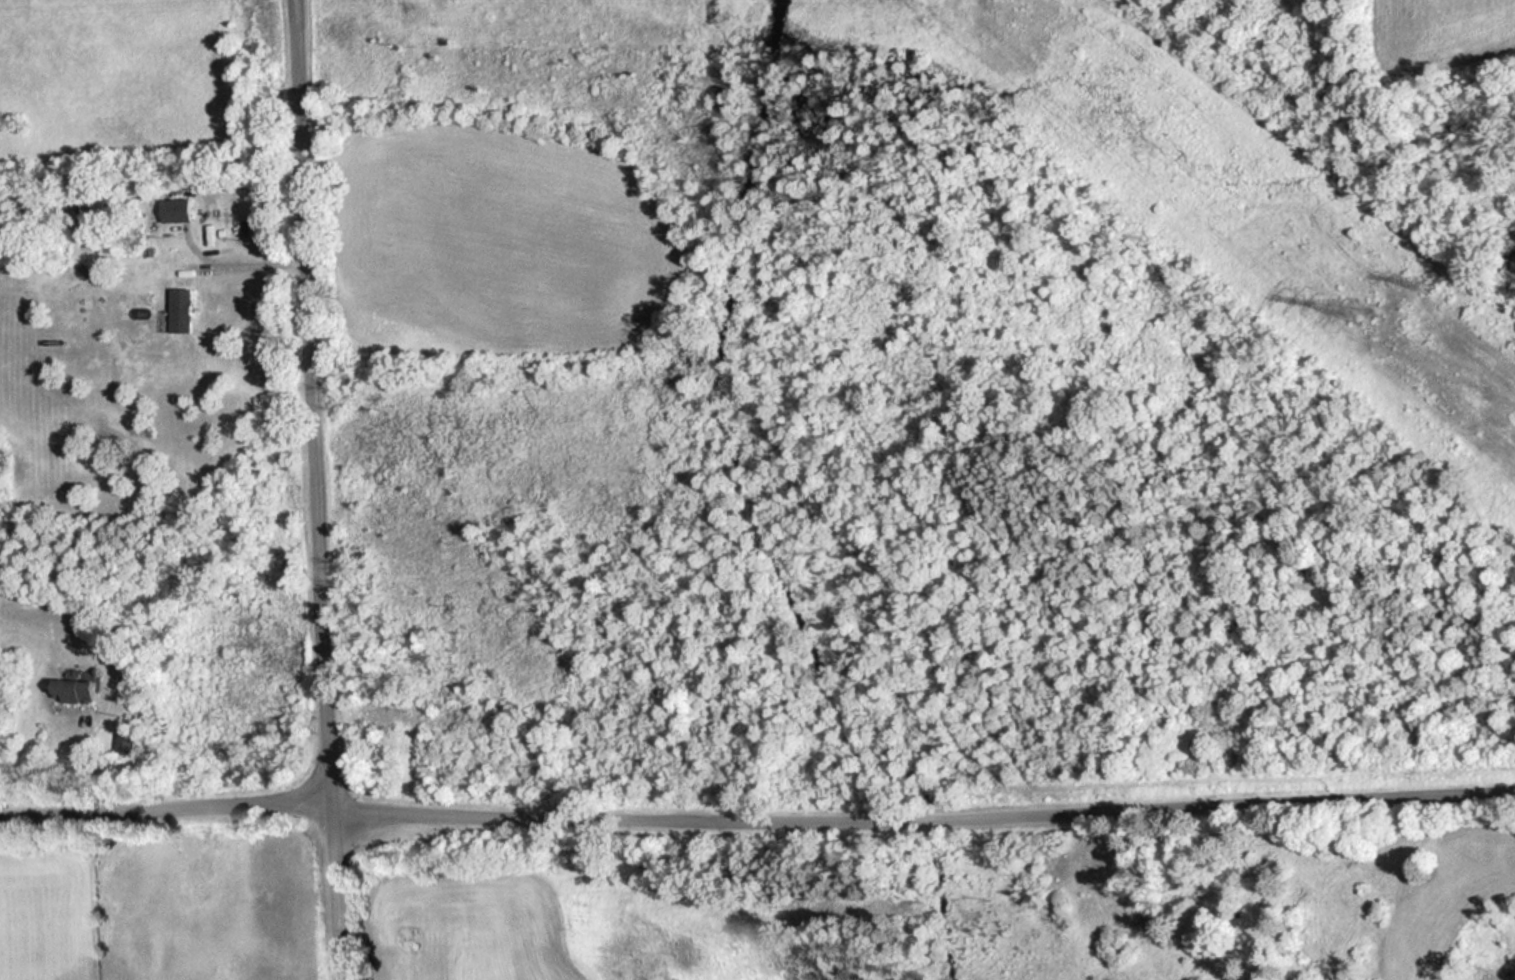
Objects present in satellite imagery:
building: (176, 210)
road: (244, 264)
power tower: (1423, 283)
power tower: (1365, 305)
building: (181, 310)
road: (322, 489)
building: (74, 688)
road: (169, 804)
road: (926, 810)

